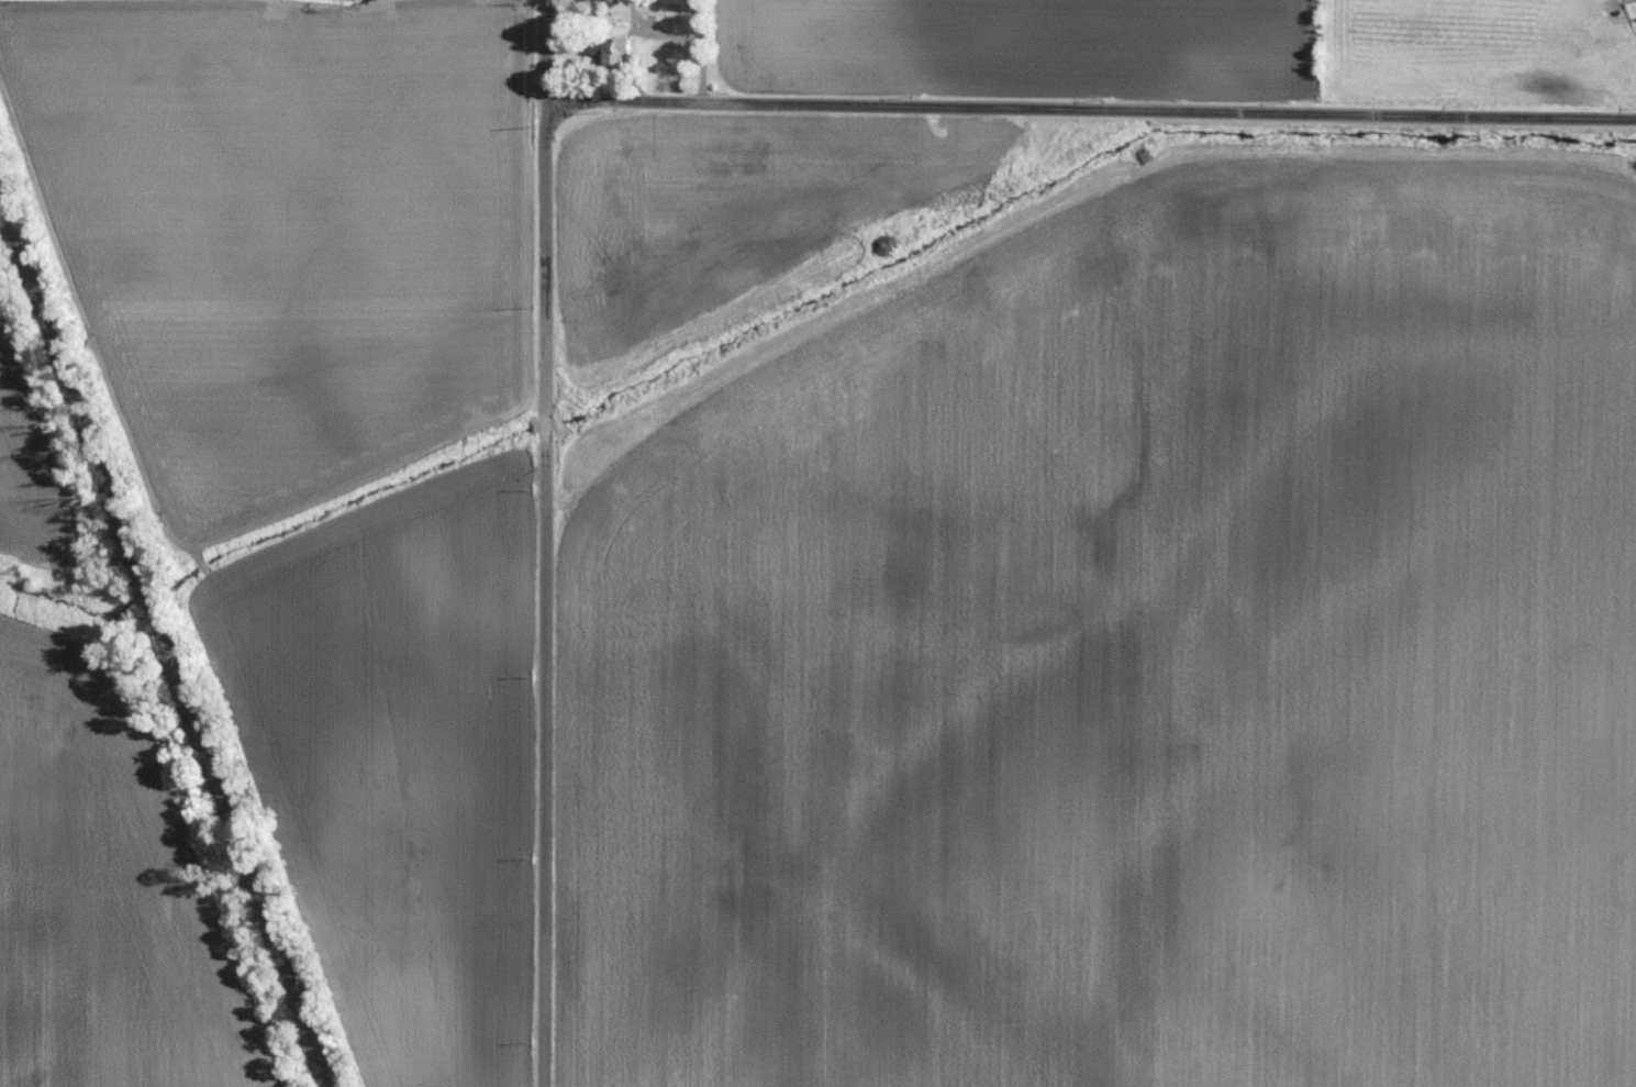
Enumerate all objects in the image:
building: (615, 52)
road: (1089, 110)
road: (543, 543)
railway: (167, 621)

